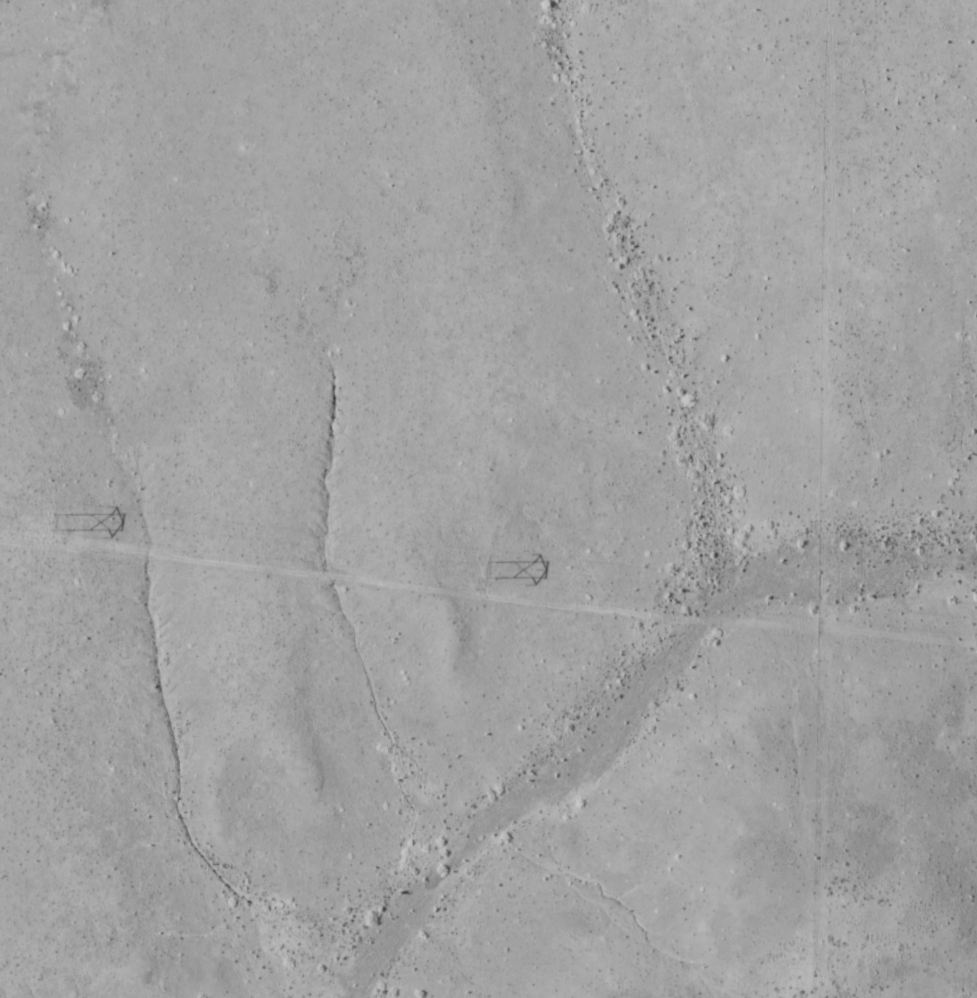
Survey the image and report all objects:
power tower: (63, 521)
power tower: (494, 569)

